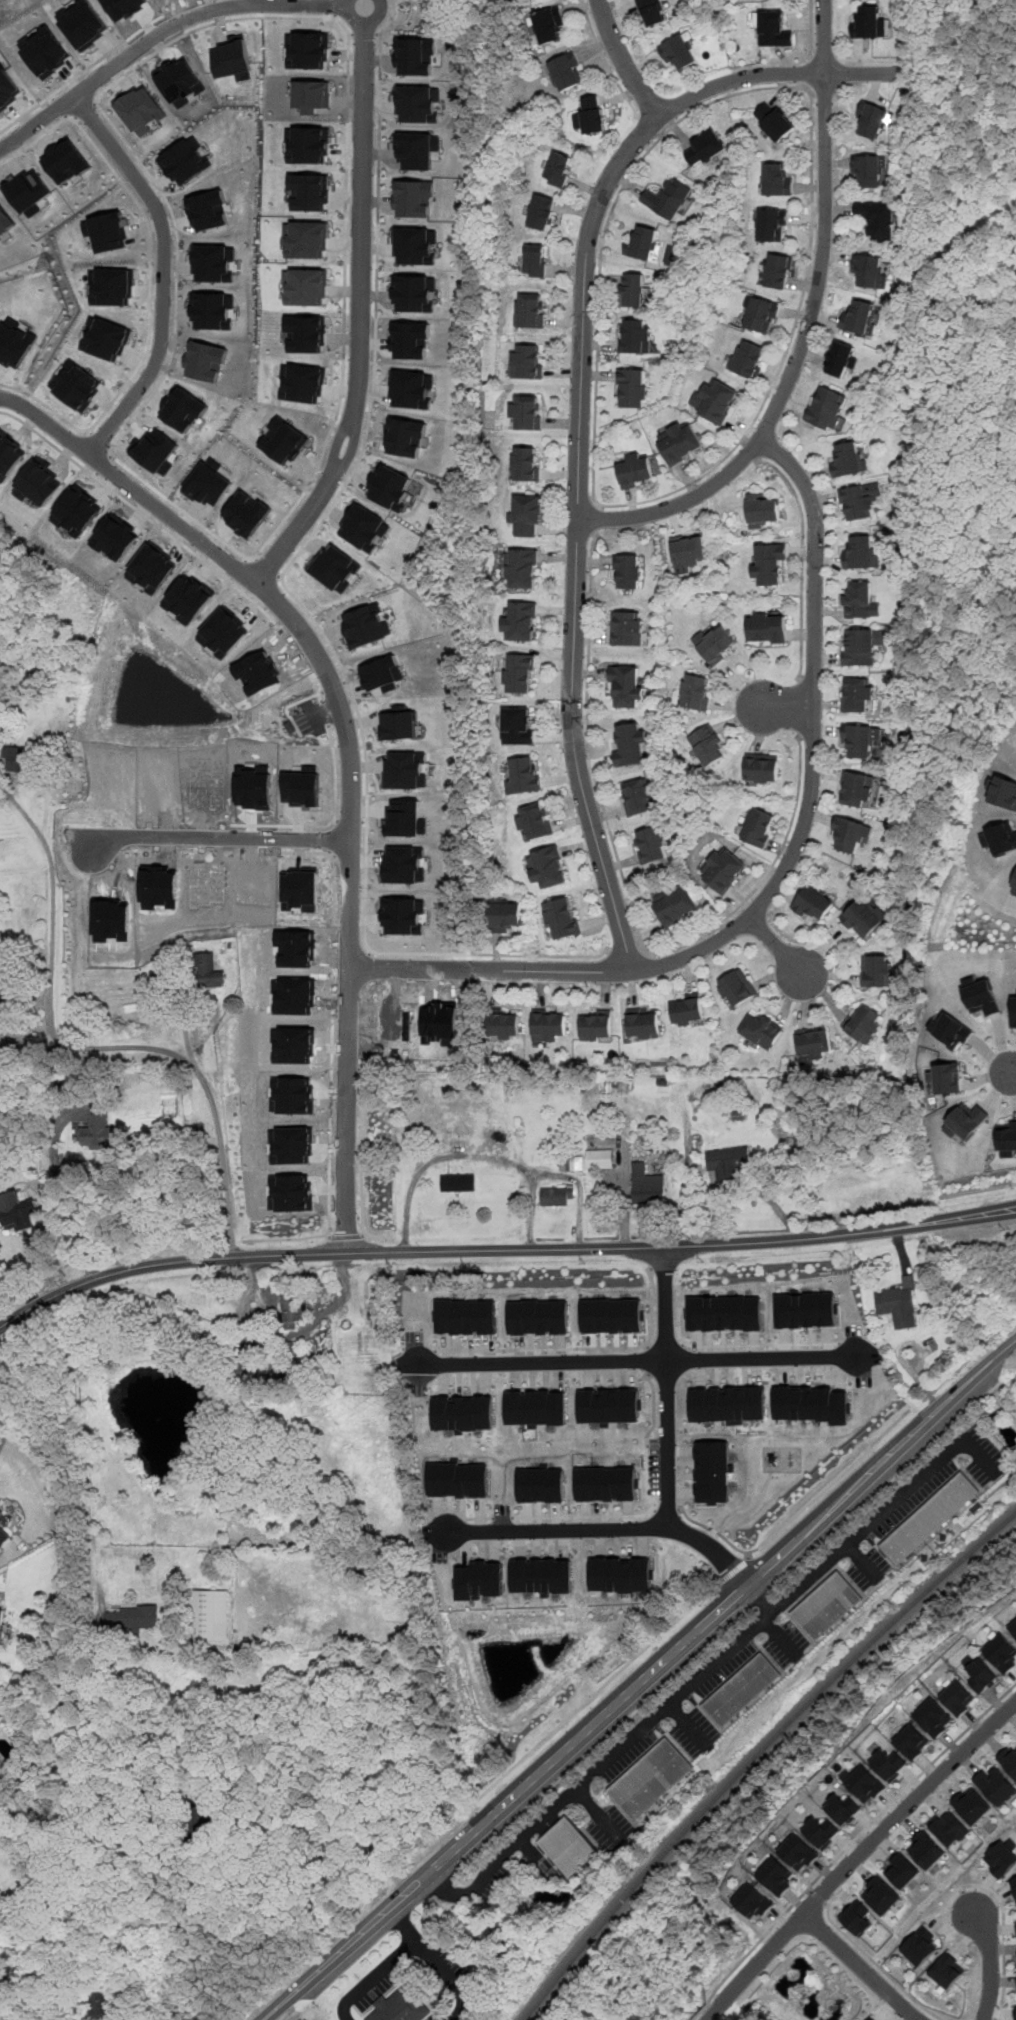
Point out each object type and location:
building: (652, 12)
park: (407, 18)
road: (408, 20)
building: (866, 21)
building: (549, 26)
road: (165, 28)
building: (773, 28)
road: (142, 29)
road: (811, 30)
road: (364, 34)
building: (307, 50)
building: (46, 51)
building: (678, 53)
building: (415, 56)
building: (232, 59)
road: (826, 59)
road: (867, 60)
road: (604, 61)
road: (622, 61)
building: (566, 73)
road: (808, 74)
building: (179, 81)
road: (800, 86)
building: (8, 87)
building: (312, 95)
road: (44, 100)
building: (416, 103)
road: (59, 106)
road: (85, 110)
building: (140, 110)
road: (347, 111)
building: (589, 117)
building: (872, 118)
building: (774, 120)
road: (649, 125)
building: (308, 144)
building: (704, 149)
building: (416, 150)
building: (65, 161)
building: (184, 161)
building: (868, 169)
building: (558, 170)
building: (776, 179)
building: (28, 191)
building: (310, 191)
building: (412, 198)
building: (667, 198)
building: (206, 210)
building: (541, 213)
building: (877, 219)
building: (5, 220)
building: (773, 224)
building: (107, 231)
building: (307, 239)
building: (643, 242)
building: (414, 245)
building: (213, 262)
building: (535, 262)
road: (149, 264)
building: (868, 269)
building: (778, 271)
road: (163, 272)
building: (306, 286)
building: (111, 287)
building: (633, 289)
building: (413, 293)
road: (360, 305)
building: (212, 310)
building: (529, 310)
building: (759, 314)
building: (859, 317)
road: (808, 327)
building: (307, 333)
building: (635, 337)
building: (105, 338)
building: (409, 340)
building: (14, 344)
building: (840, 358)
building: (749, 359)
building: (205, 360)
building: (525, 361)
building: (302, 383)
building: (76, 384)
road: (14, 387)
building: (411, 388)
building: (634, 388)
building: (715, 400)
building: (183, 408)
building: (826, 408)
building: (524, 412)
road: (580, 413)
road: (368, 416)
building: (406, 436)
road: (100, 439)
building: (284, 441)
building: (679, 443)
building: (157, 450)
road: (749, 450)
building: (8, 454)
building: (847, 459)
building: (526, 463)
road: (104, 465)
road: (83, 467)
building: (635, 470)
building: (39, 483)
building: (209, 483)
building: (389, 486)
building: (858, 501)
building: (761, 510)
building: (78, 511)
building: (246, 513)
building: (527, 514)
road: (596, 519)
building: (363, 527)
building: (117, 536)
building: (860, 552)
building: (689, 553)
road: (802, 560)
building: (772, 563)
road: (268, 567)
building: (335, 568)
building: (521, 568)
road: (240, 570)
building: (628, 571)
building: (861, 601)
building: (520, 620)
building: (365, 626)
building: (628, 628)
building: (771, 628)
building: (717, 644)
building: (861, 645)
building: (382, 673)
building: (519, 675)
road: (333, 685)
building: (628, 685)
building: (696, 692)
building: (857, 695)
road: (306, 698)
road: (799, 706)
road: (782, 707)
road: (323, 709)
parking lot: (309, 720)
building: (398, 725)
building: (518, 726)
building: (858, 742)
road: (349, 744)
building: (632, 744)
road: (589, 745)
building: (708, 747)
building: (17, 758)
building: (761, 769)
building: (405, 770)
building: (523, 776)
building: (855, 787)
building: (1004, 791)
building: (639, 796)
building: (405, 818)
road: (350, 821)
building: (534, 822)
road: (248, 825)
building: (757, 827)
building: (851, 834)
road: (218, 837)
building: (1001, 838)
building: (651, 844)
building: (547, 867)
building: (723, 870)
road: (765, 875)
road: (781, 878)
road: (334, 883)
building: (1015, 883)
building: (1014, 890)
building: (814, 904)
building: (675, 906)
building: (402, 913)
building: (507, 916)
building: (562, 918)
building: (863, 921)
road: (778, 948)
road: (626, 952)
road: (410, 953)
building: (211, 971)
building: (876, 971)
building: (1, 981)
building: (736, 988)
building: (982, 996)
building: (1013, 1010)
building: (687, 1011)
building: (643, 1023)
building: (549, 1024)
building: (596, 1024)
building: (864, 1024)
building: (503, 1025)
building: (761, 1029)
building: (951, 1030)
building: (814, 1043)
road: (88, 1047)
road: (1011, 1074)
building: (948, 1078)
building: (967, 1121)
building: (95, 1129)
building: (1007, 1136)
building: (600, 1159)
building: (727, 1162)
building: (571, 1163)
road: (361, 1166)
building: (458, 1182)
building: (646, 1184)
road: (978, 1191)
building: (557, 1195)
building: (18, 1212)
road: (77, 1230)
road: (326, 1235)
road: (363, 1235)
road: (345, 1237)
road: (303, 1238)
road: (502, 1249)
building: (898, 1304)
building: (807, 1309)
building: (293, 1311)
building: (725, 1312)
building: (612, 1315)
building: (466, 1316)
building: (539, 1316)
road: (759, 1344)
road: (665, 1345)
road: (562, 1348)
building: (296, 1352)
road: (636, 1360)
road: (649, 1360)
road: (666, 1386)
building: (728, 1403)
building: (811, 1404)
building: (609, 1405)
building: (536, 1407)
building: (463, 1411)
building: (713, 1471)
building: (458, 1479)
road: (829, 1482)
building: (542, 1484)
building: (606, 1484)
road: (887, 1488)
road: (651, 1506)
road: (652, 1509)
road: (666, 1509)
road: (750, 1510)
road: (478, 1518)
road: (503, 1518)
building: (929, 1519)
road: (604, 1528)
road: (715, 1531)
building: (5, 1534)
road: (10, 1554)
road: (862, 1562)
road: (732, 1571)
building: (620, 1573)
building: (542, 1574)
building: (480, 1580)
road: (760, 1596)
road: (763, 1600)
road: (720, 1606)
building: (827, 1607)
building: (211, 1615)
building: (132, 1617)
building: (1, 1623)
building: (1013, 1626)
road: (781, 1639)
road: (735, 1646)
building: (1001, 1652)
building: (980, 1673)
building: (742, 1690)
road: (0, 1692)
road: (595, 1693)
building: (957, 1700)
building: (1, 1717)
building: (932, 1717)
road: (689, 1725)
road: (606, 1741)
building: (910, 1741)
railway: (757, 1753)
building: (1008, 1761)
building: (888, 1762)
building: (650, 1779)
building: (863, 1783)
building: (995, 1785)
building: (970, 1806)
building: (842, 1809)
road: (598, 1814)
building: (949, 1828)
building: (820, 1832)
road: (848, 1845)
road: (305, 1846)
building: (567, 1847)
building: (926, 1849)
building: (798, 1852)
road: (531, 1853)
road: (858, 1857)
building: (1000, 1859)
building: (902, 1870)
building: (775, 1876)
road: (418, 1881)
building: (1014, 1888)
road: (809, 1890)
road: (448, 1892)
building: (881, 1896)
road: (818, 1898)
building: (751, 1901)
building: (857, 1921)
road: (402, 1922)
road: (1003, 1934)
building: (918, 1947)
road: (335, 1953)
road: (990, 1964)
road: (860, 1966)
road: (879, 1966)
building: (948, 1971)
road: (372, 1976)
road: (450, 1977)
building: (401, 2006)
building: (97, 2007)
building: (870, 2019)

